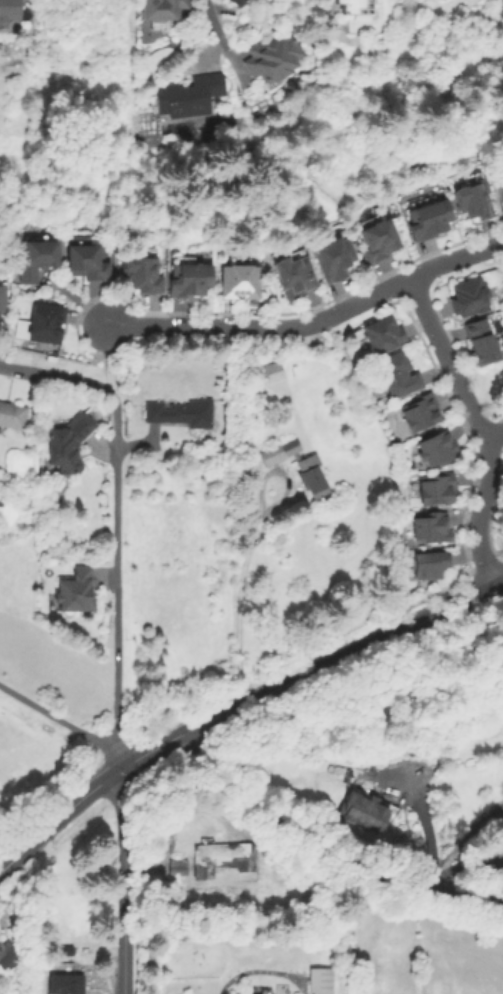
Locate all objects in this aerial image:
building: (237, 2)
building: (354, 6)
building: (162, 9)
building: (9, 12)
road: (218, 29)
building: (273, 58)
building: (188, 96)
building: (475, 198)
building: (430, 215)
building: (378, 241)
building: (336, 254)
building: (35, 255)
road: (456, 259)
building: (85, 260)
building: (140, 270)
building: (294, 272)
building: (240, 279)
building: (189, 280)
building: (470, 295)
building: (2, 300)
building: (45, 322)
road: (263, 326)
building: (383, 332)
building: (483, 339)
road: (104, 357)
road: (448, 360)
building: (275, 374)
building: (398, 374)
road: (57, 377)
building: (420, 411)
building: (183, 415)
building: (13, 416)
road: (494, 436)
building: (69, 443)
building: (437, 448)
building: (298, 466)
building: (437, 488)
building: (0, 497)
road: (479, 514)
building: (432, 528)
building: (432, 563)
road: (117, 582)
building: (79, 590)
road: (237, 600)
road: (447, 607)
road: (381, 638)
road: (242, 702)
road: (64, 722)
building: (364, 810)
road: (56, 815)
building: (499, 822)
road: (327, 847)
road: (7, 849)
building: (266, 853)
building: (222, 858)
building: (177, 867)
road: (121, 881)
building: (8, 955)
building: (321, 980)
building: (66, 985)

